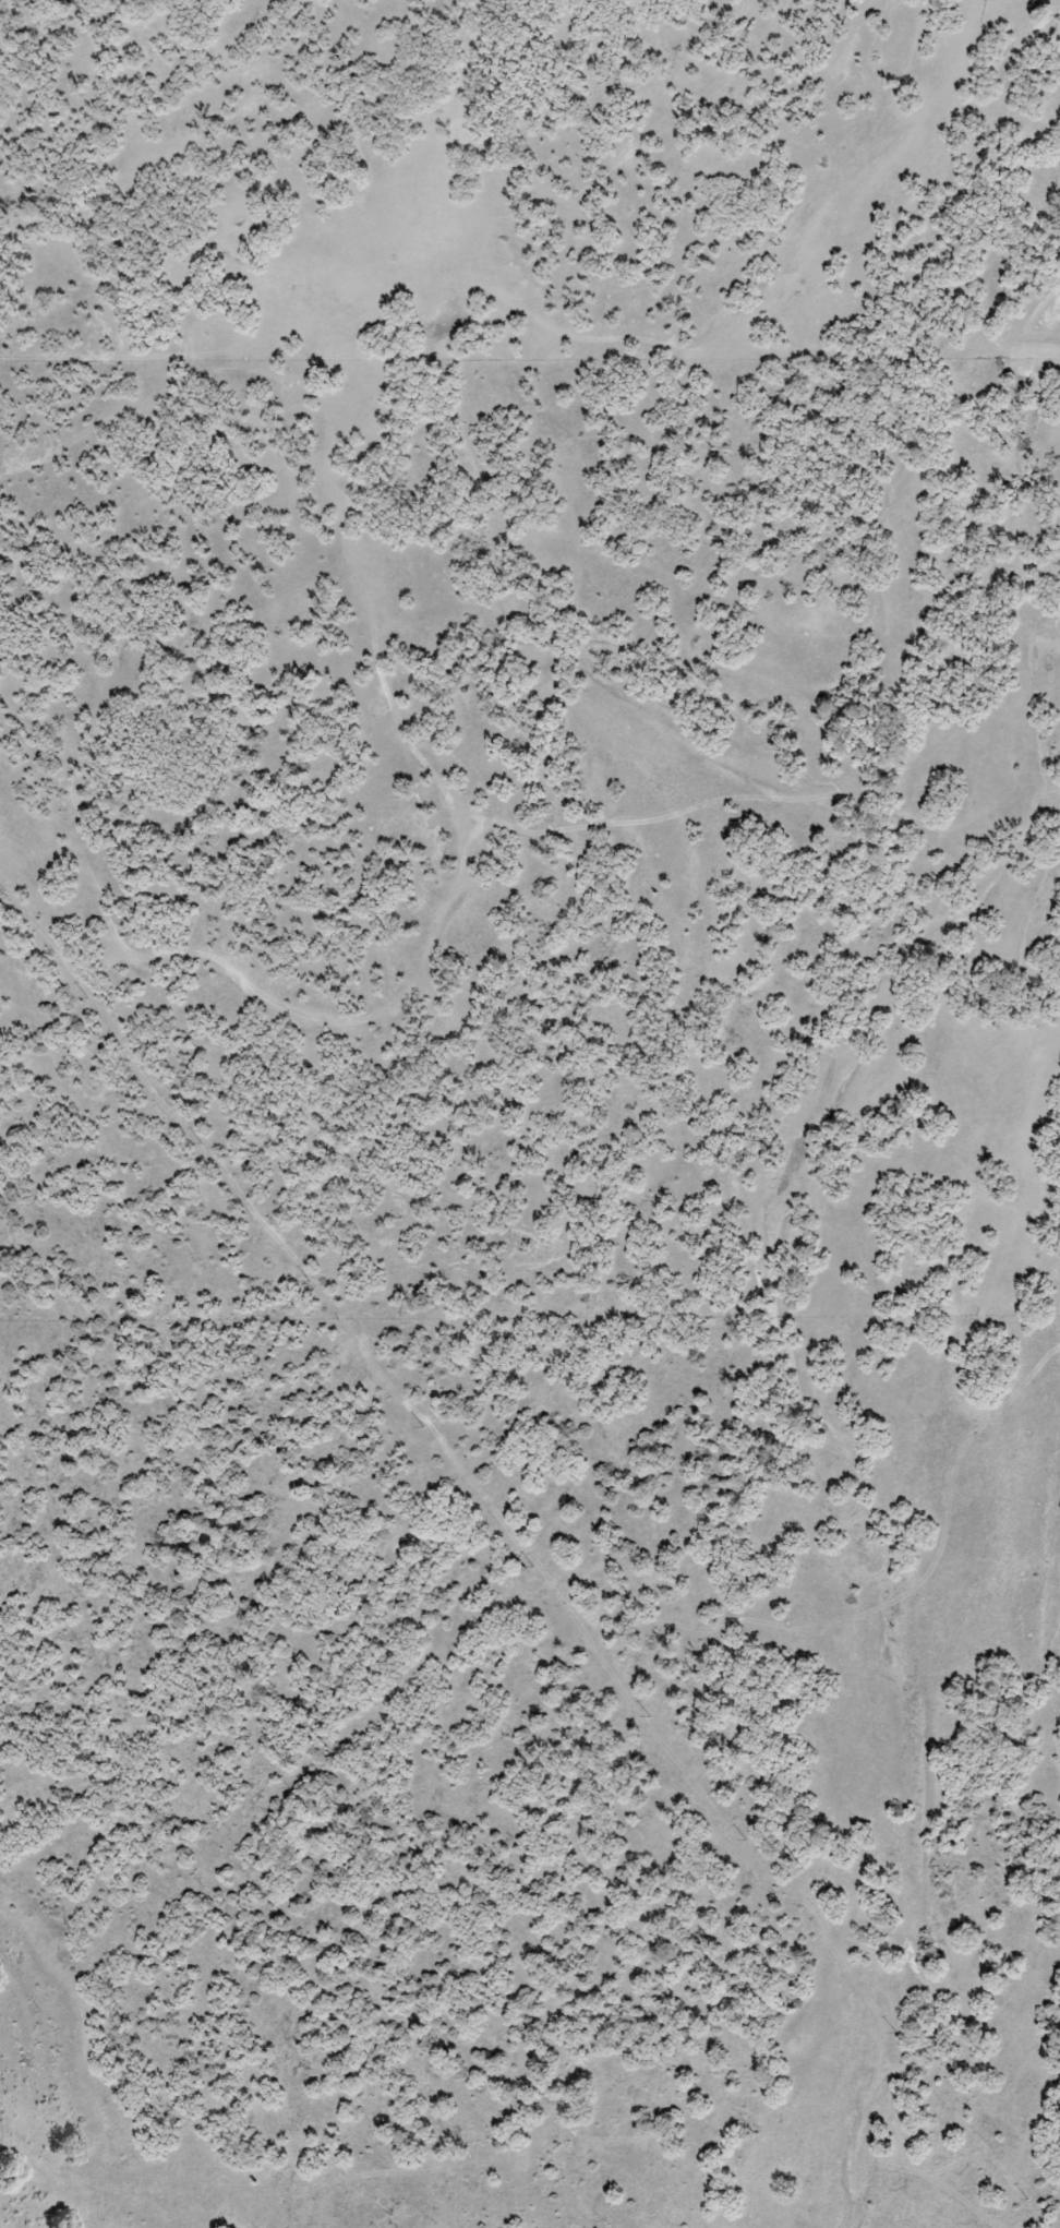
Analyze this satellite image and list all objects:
road: (378, 498)

